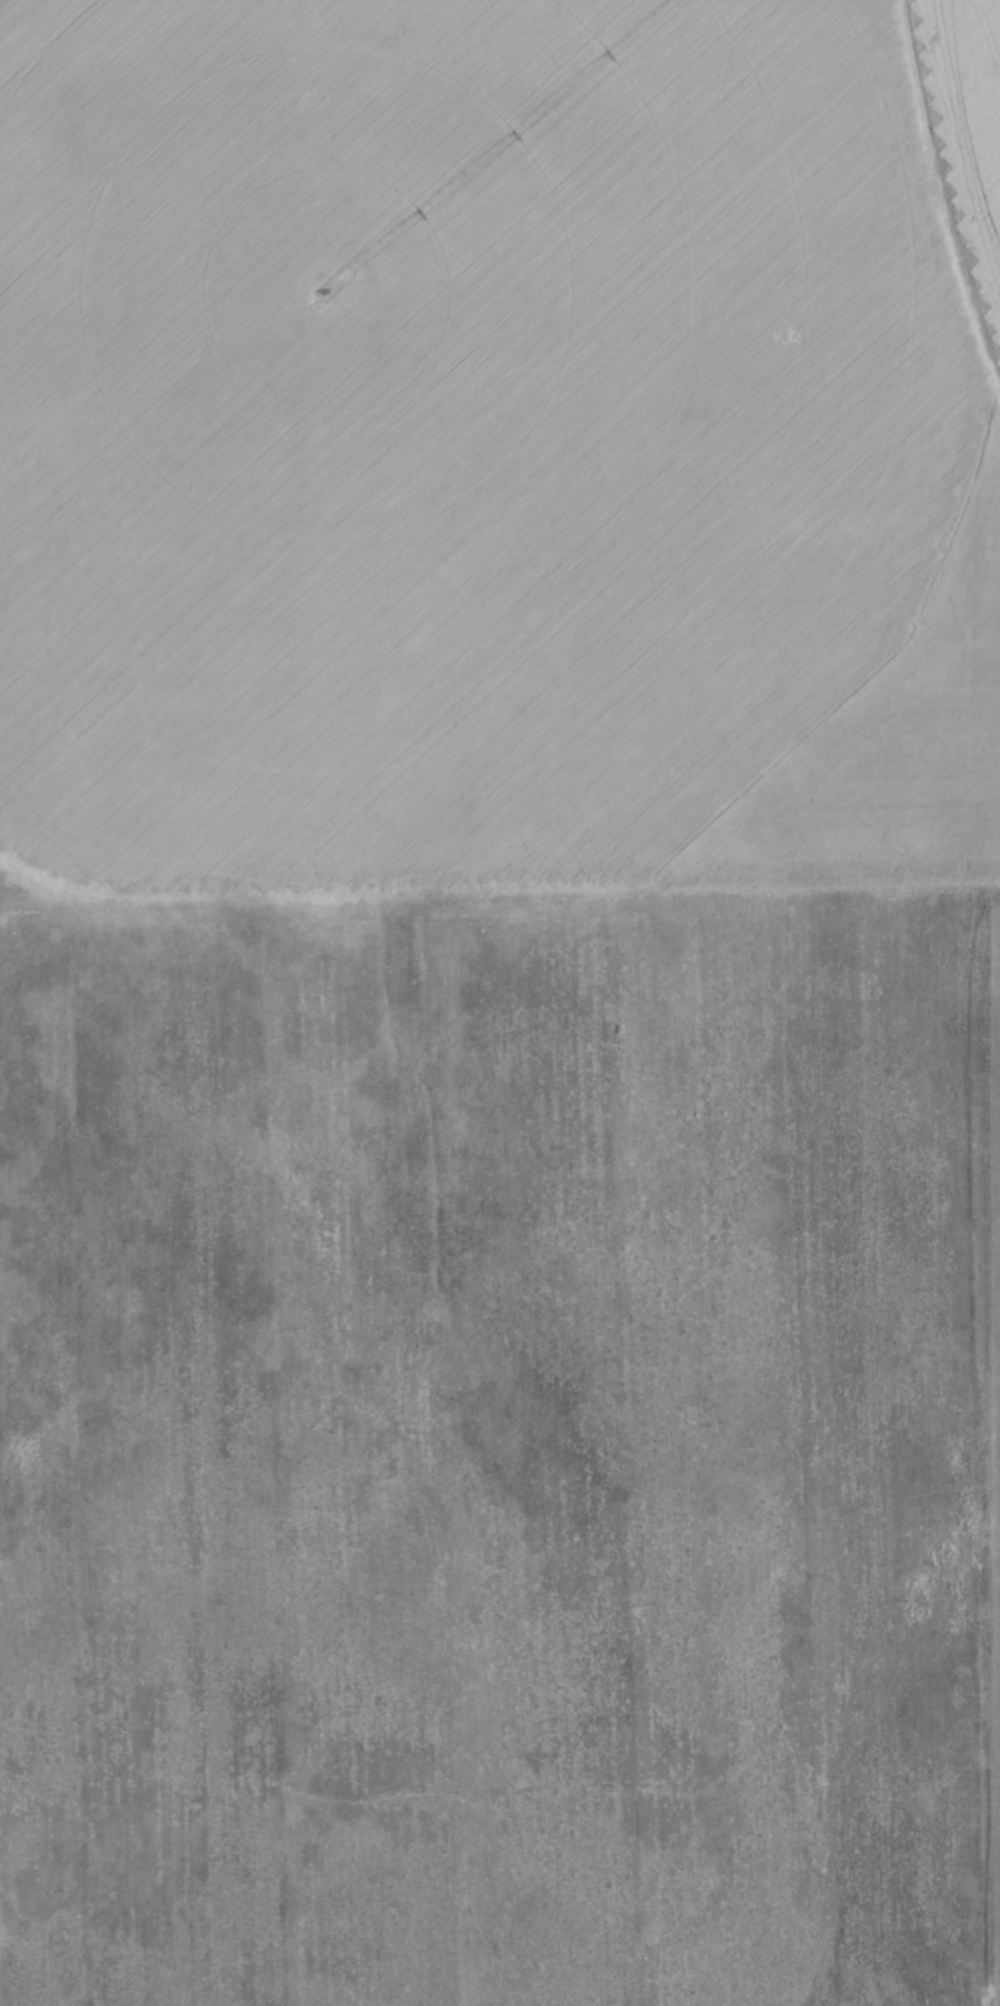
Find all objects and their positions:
road: (990, 1456)

